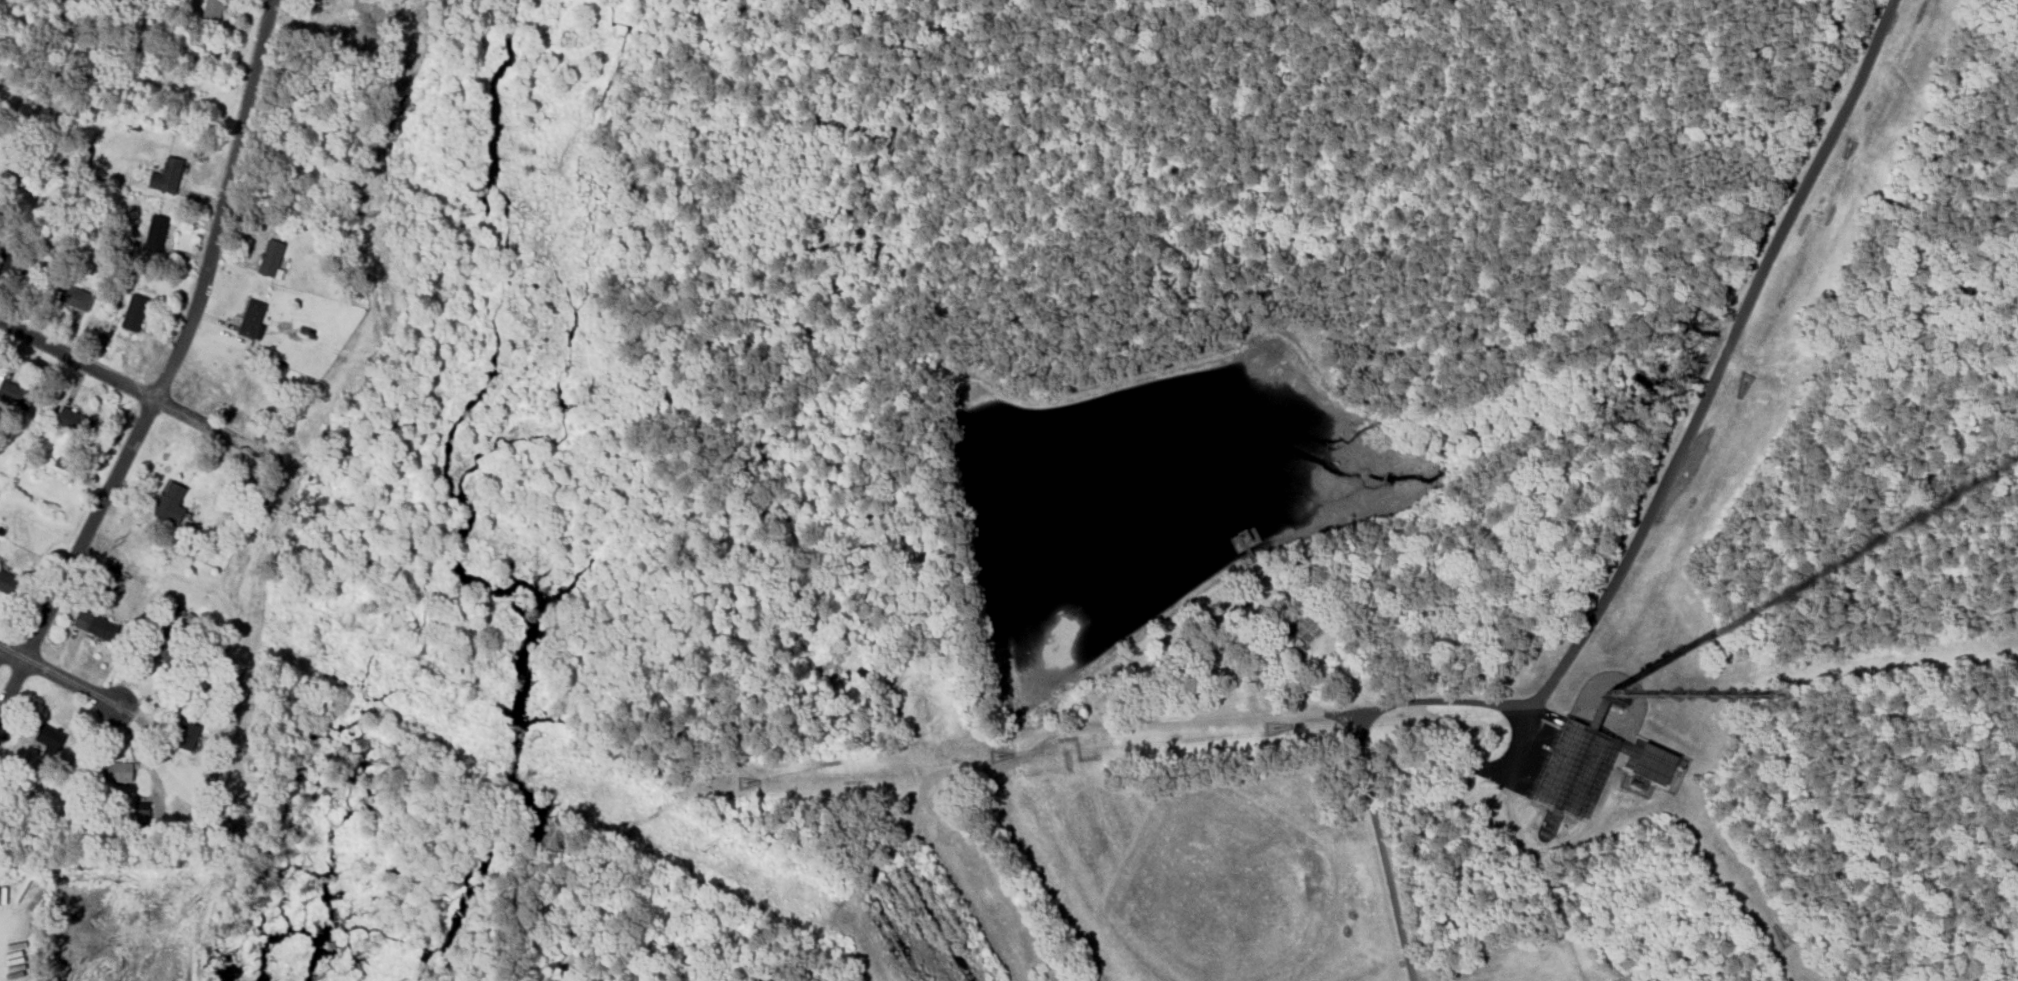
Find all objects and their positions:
building: (211, 10)
building: (165, 176)
building: (154, 233)
building: (269, 257)
building: (71, 296)
building: (132, 312)
building: (249, 318)
road: (179, 342)
road: (137, 392)
building: (14, 395)
building: (74, 421)
building: (168, 503)
power tower: (111, 544)
road: (1623, 561)
building: (8, 583)
building: (93, 626)
building: (170, 656)
road: (58, 677)
road: (11, 683)
building: (185, 735)
building: (50, 738)
building: (116, 771)
building: (1563, 791)
building: (142, 812)
power tower: (701, 846)

